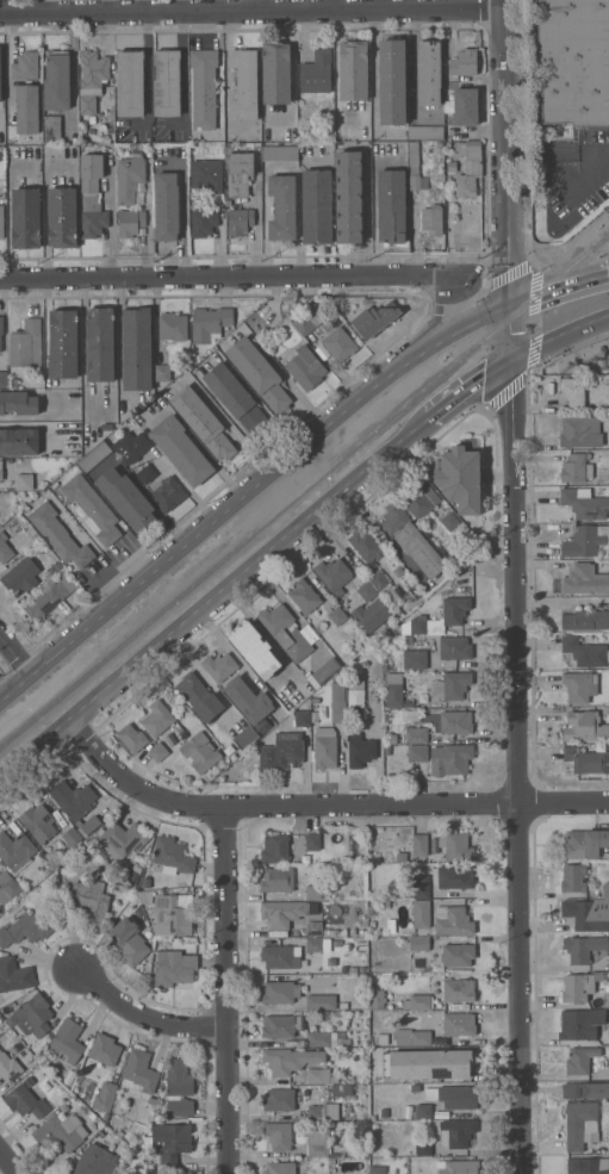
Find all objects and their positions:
road: (328, 5)
road: (336, 5)
road: (253, 12)
building: (464, 61)
building: (578, 61)
building: (25, 66)
building: (354, 70)
building: (316, 72)
building: (0, 73)
building: (276, 73)
road: (292, 73)
building: (428, 73)
road: (145, 74)
road: (182, 74)
building: (92, 79)
building: (57, 82)
building: (130, 82)
building: (167, 82)
building: (392, 82)
building: (244, 85)
building: (204, 88)
building: (466, 106)
building: (27, 108)
building: (92, 118)
building: (51, 129)
building: (425, 132)
building: (105, 136)
building: (439, 147)
building: (280, 153)
road: (559, 153)
building: (452, 166)
building: (415, 168)
building: (468, 168)
building: (238, 173)
building: (206, 174)
building: (129, 175)
building: (91, 180)
building: (348, 197)
building: (392, 205)
building: (167, 206)
building: (317, 206)
building: (282, 207)
building: (62, 217)
road: (8, 218)
building: (25, 218)
road: (45, 219)
road: (110, 219)
building: (431, 219)
building: (1, 222)
building: (130, 222)
road: (147, 222)
building: (203, 222)
building: (240, 222)
building: (93, 223)
road: (255, 224)
road: (229, 275)
road: (559, 287)
traffic signals: (510, 305)
building: (315, 315)
road: (434, 316)
building: (374, 318)
building: (210, 323)
building: (304, 324)
building: (173, 325)
building: (1, 329)
road: (559, 340)
building: (26, 343)
building: (99, 343)
building: (338, 343)
building: (63, 344)
building: (136, 348)
park: (583, 360)
traffic signals: (511, 365)
building: (305, 367)
building: (162, 373)
building: (259, 373)
building: (4, 379)
road: (467, 389)
building: (572, 391)
building: (237, 399)
building: (18, 403)
road: (39, 417)
building: (203, 422)
building: (106, 427)
building: (580, 431)
building: (19, 441)
building: (131, 447)
building: (181, 449)
building: (94, 456)
building: (98, 468)
building: (576, 468)
building: (1, 470)
building: (147, 473)
building: (460, 476)
building: (25, 482)
road: (187, 489)
railway: (304, 489)
road: (247, 491)
building: (168, 493)
building: (418, 498)
building: (126, 499)
building: (584, 503)
building: (92, 508)
building: (449, 521)
building: (60, 535)
building: (411, 540)
building: (585, 541)
building: (365, 543)
building: (4, 548)
building: (55, 569)
building: (333, 572)
building: (20, 577)
building: (584, 579)
building: (380, 583)
road: (516, 586)
building: (366, 591)
building: (49, 596)
road: (212, 596)
building: (304, 596)
building: (371, 614)
building: (421, 615)
building: (337, 616)
building: (453, 617)
building: (585, 620)
building: (288, 632)
building: (408, 639)
building: (454, 647)
building: (255, 650)
building: (585, 652)
road: (15, 654)
building: (415, 659)
building: (219, 666)
building: (325, 670)
building: (341, 672)
building: (312, 679)
building: (452, 685)
building: (579, 687)
building: (393, 689)
building: (355, 695)
building: (199, 696)
building: (251, 701)
building: (337, 702)
building: (315, 715)
building: (157, 718)
building: (303, 719)
building: (455, 721)
building: (584, 726)
building: (416, 734)
building: (246, 737)
building: (131, 738)
building: (324, 747)
building: (360, 750)
building: (281, 751)
building: (159, 752)
building: (200, 752)
building: (417, 753)
building: (449, 759)
building: (584, 759)
building: (76, 803)
road: (322, 808)
building: (38, 822)
building: (72, 837)
building: (123, 837)
building: (312, 841)
building: (585, 843)
building: (420, 845)
building: (455, 846)
building: (275, 849)
building: (15, 850)
building: (172, 856)
building: (400, 856)
building: (45, 871)
building: (455, 877)
building: (573, 877)
building: (275, 878)
building: (156, 882)
building: (8, 883)
building: (421, 887)
building: (605, 889)
building: (312, 892)
building: (143, 896)
building: (92, 900)
building: (384, 903)
building: (129, 908)
building: (173, 913)
building: (281, 913)
building: (421, 914)
building: (586, 914)
building: (361, 915)
building: (452, 920)
building: (25, 926)
building: (313, 928)
building: (329, 931)
building: (378, 932)
building: (129, 940)
building: (335, 942)
building: (418, 943)
building: (317, 944)
building: (583, 948)
building: (346, 950)
building: (456, 955)
building: (279, 957)
building: (173, 967)
building: (352, 969)
building: (13, 975)
building: (579, 986)
building: (458, 989)
road: (231, 992)
building: (280, 992)
building: (377, 999)
building: (607, 999)
building: (321, 1001)
building: (417, 1002)
building: (343, 1005)
building: (389, 1006)
road: (150, 1012)
building: (33, 1015)
building: (459, 1024)
building: (580, 1024)
building: (2, 1025)
building: (281, 1025)
building: (411, 1037)
building: (328, 1038)
building: (381, 1039)
building: (66, 1041)
building: (105, 1050)
building: (290, 1060)
building: (579, 1060)
building: (427, 1063)
building: (8, 1067)
building: (139, 1071)
building: (318, 1075)
building: (334, 1079)
building: (179, 1088)
building: (415, 1088)
building: (342, 1089)
building: (585, 1089)
building: (453, 1097)
building: (104, 1098)
building: (279, 1099)
building: (153, 1100)
building: (25, 1101)
building: (63, 1107)
building: (422, 1111)
building: (322, 1112)
building: (580, 1124)
building: (61, 1131)
building: (456, 1132)
building: (278, 1135)
building: (169, 1141)
building: (317, 1142)
building: (423, 1148)
building: (390, 1151)
building: (95, 1161)
road: (8, 1163)
building: (330, 1164)
building: (588, 1166)
building: (460, 1167)
building: (279, 1168)
building: (378, 1169)
building: (150, 1172)
building: (119, 1173)
building: (132, 1173)

